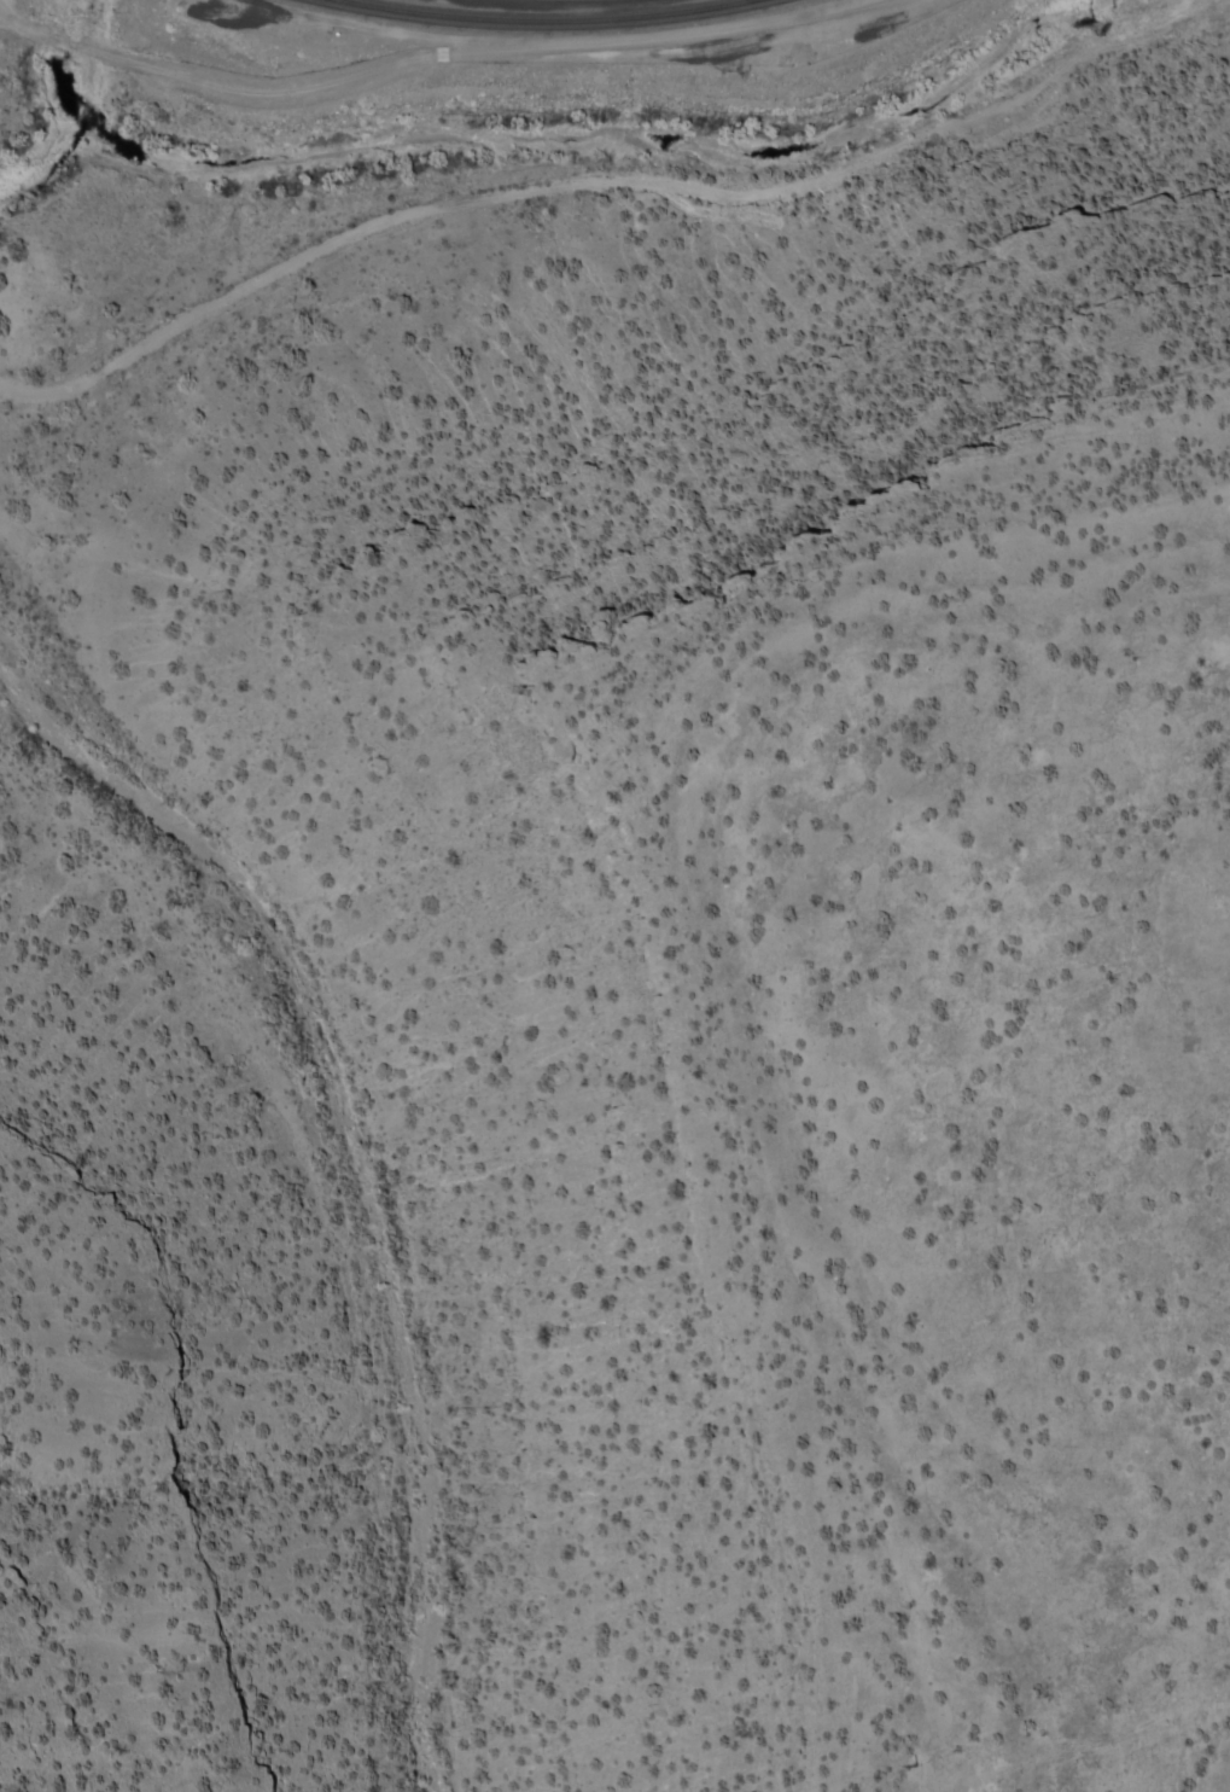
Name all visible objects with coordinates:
railway: (541, 24)

